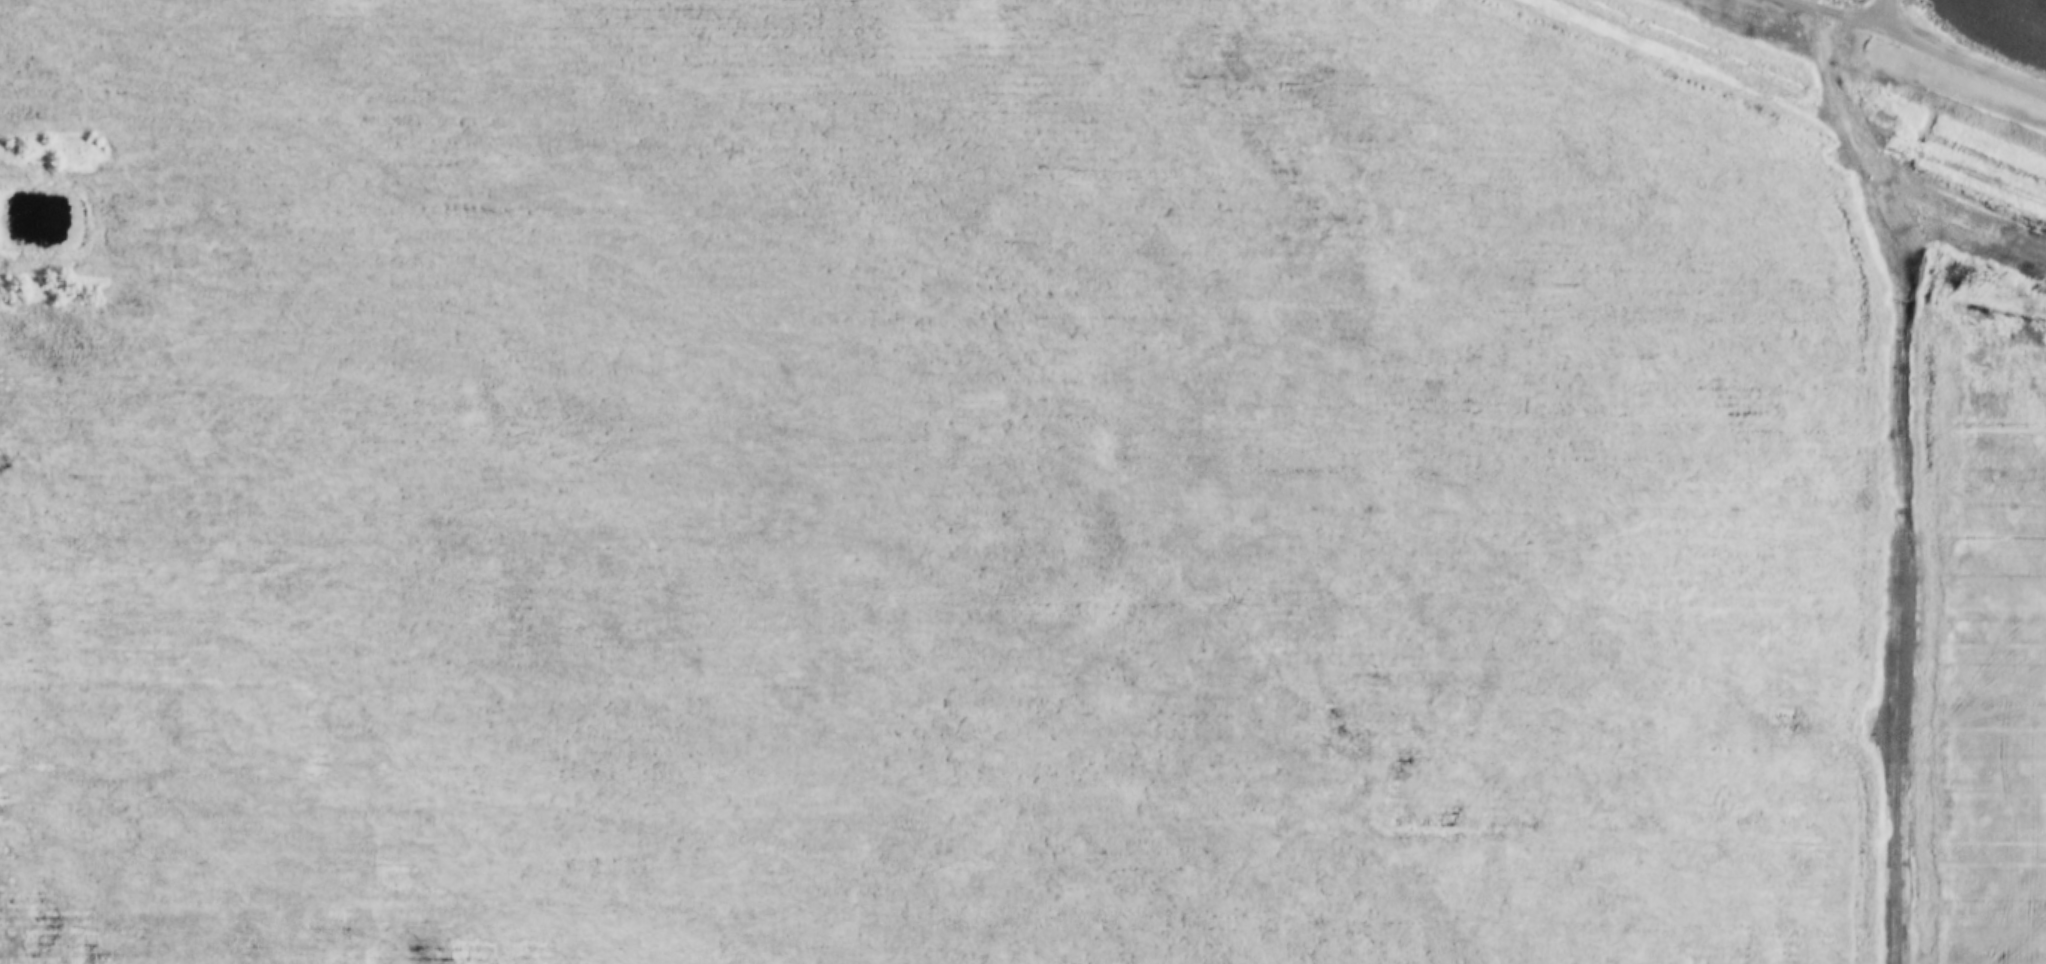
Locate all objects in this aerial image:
road: (1890, 17)
road: (1909, 41)
road: (1901, 483)
airport: (927, 484)

